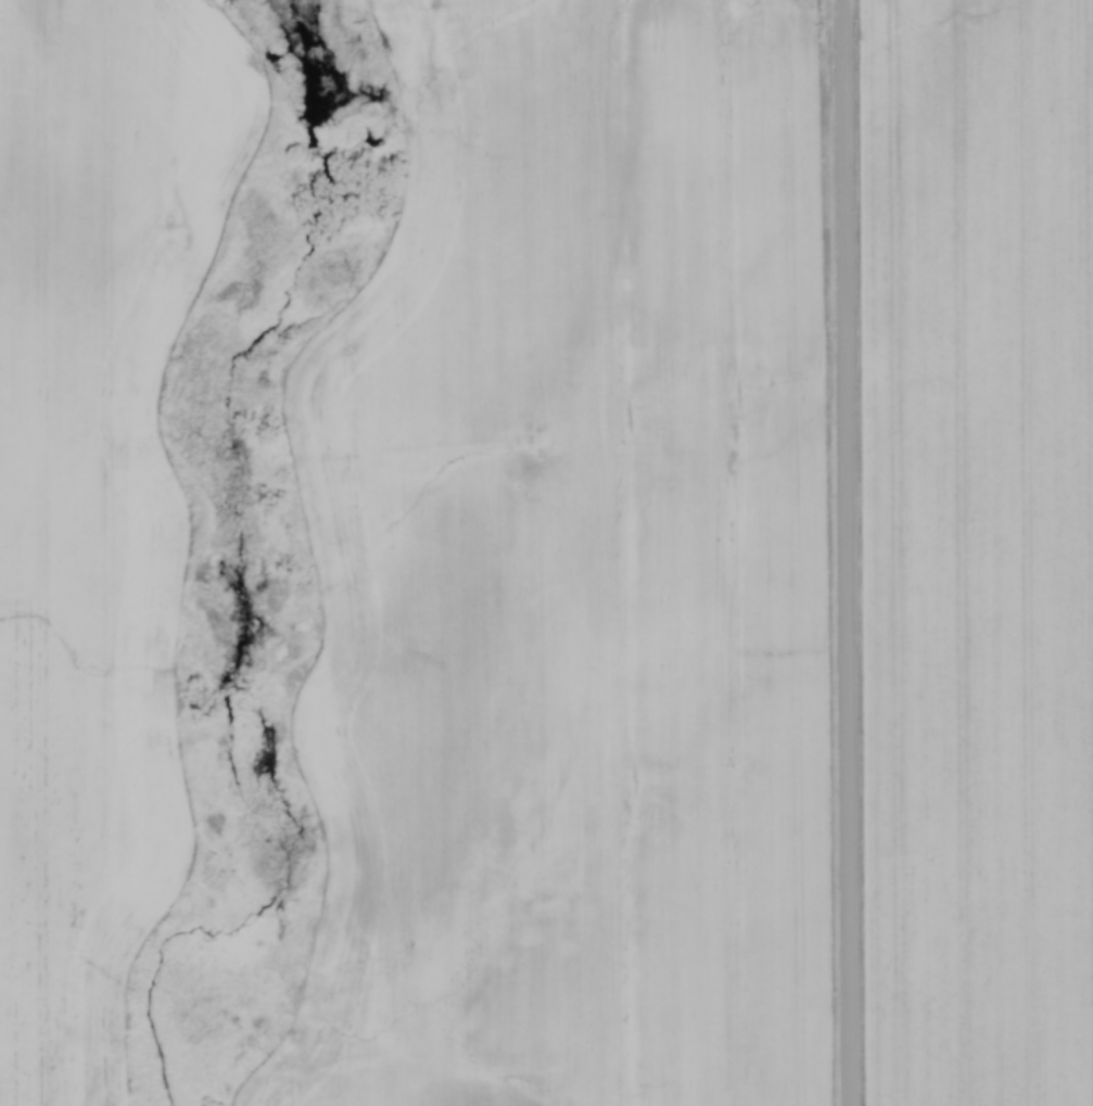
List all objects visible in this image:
road: (840, 552)

